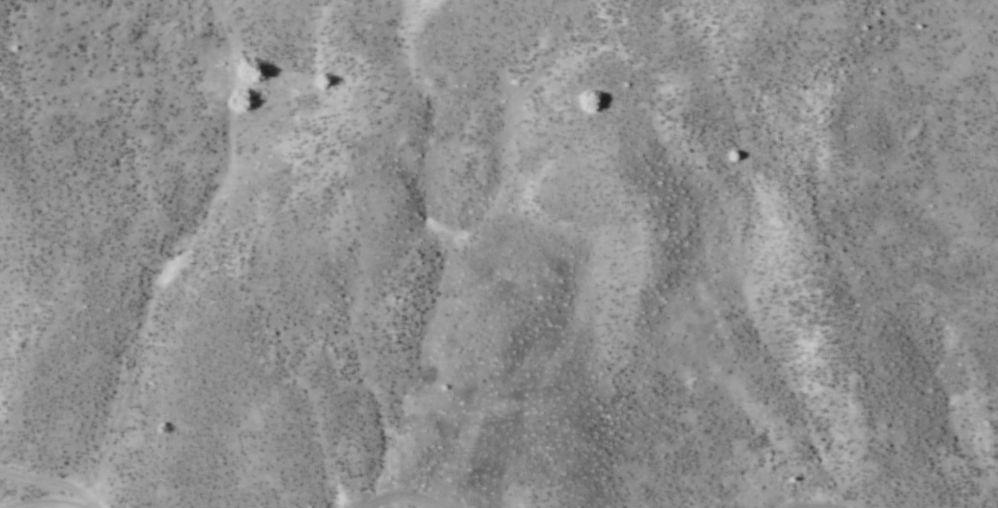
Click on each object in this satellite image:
road: (31, 488)
road: (403, 503)
road: (53, 505)
road: (69, 505)

